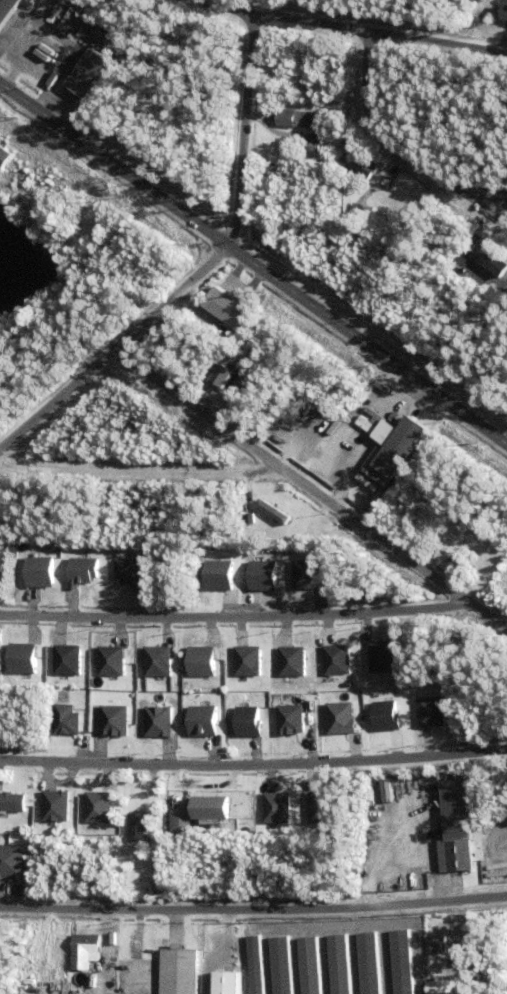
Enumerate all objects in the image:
building: (37, 5)
building: (8, 10)
building: (502, 13)
building: (68, 24)
road: (348, 27)
building: (124, 52)
building: (304, 71)
building: (90, 74)
building: (329, 96)
building: (293, 119)
building: (315, 144)
road: (402, 148)
building: (4, 158)
building: (274, 166)
building: (370, 171)
building: (9, 181)
building: (358, 185)
road: (487, 196)
building: (363, 211)
road: (253, 266)
building: (496, 266)
road: (204, 272)
building: (222, 308)
building: (225, 377)
building: (1, 388)
building: (365, 425)
building: (391, 454)
road: (146, 471)
road: (312, 490)
building: (276, 513)
building: (431, 532)
building: (81, 571)
building: (38, 572)
building: (128, 572)
building: (216, 574)
building: (304, 574)
building: (261, 575)
road: (236, 621)
building: (381, 656)
building: (19, 658)
building: (65, 659)
building: (109, 659)
building: (335, 659)
building: (156, 661)
building: (201, 661)
building: (247, 661)
building: (290, 661)
building: (430, 710)
building: (385, 715)
building: (338, 717)
building: (63, 719)
building: (200, 719)
building: (288, 719)
building: (112, 720)
building: (155, 720)
building: (247, 721)
road: (253, 765)
building: (11, 802)
building: (53, 805)
building: (95, 806)
building: (273, 807)
building: (320, 807)
building: (211, 809)
building: (180, 821)
building: (135, 825)
building: (457, 842)
building: (11, 861)
road: (253, 913)
building: (437, 943)
building: (85, 946)
building: (400, 961)
building: (253, 963)
building: (367, 963)
building: (279, 964)
building: (337, 964)
building: (308, 965)
building: (176, 971)
building: (435, 976)
building: (225, 982)
building: (436, 987)

